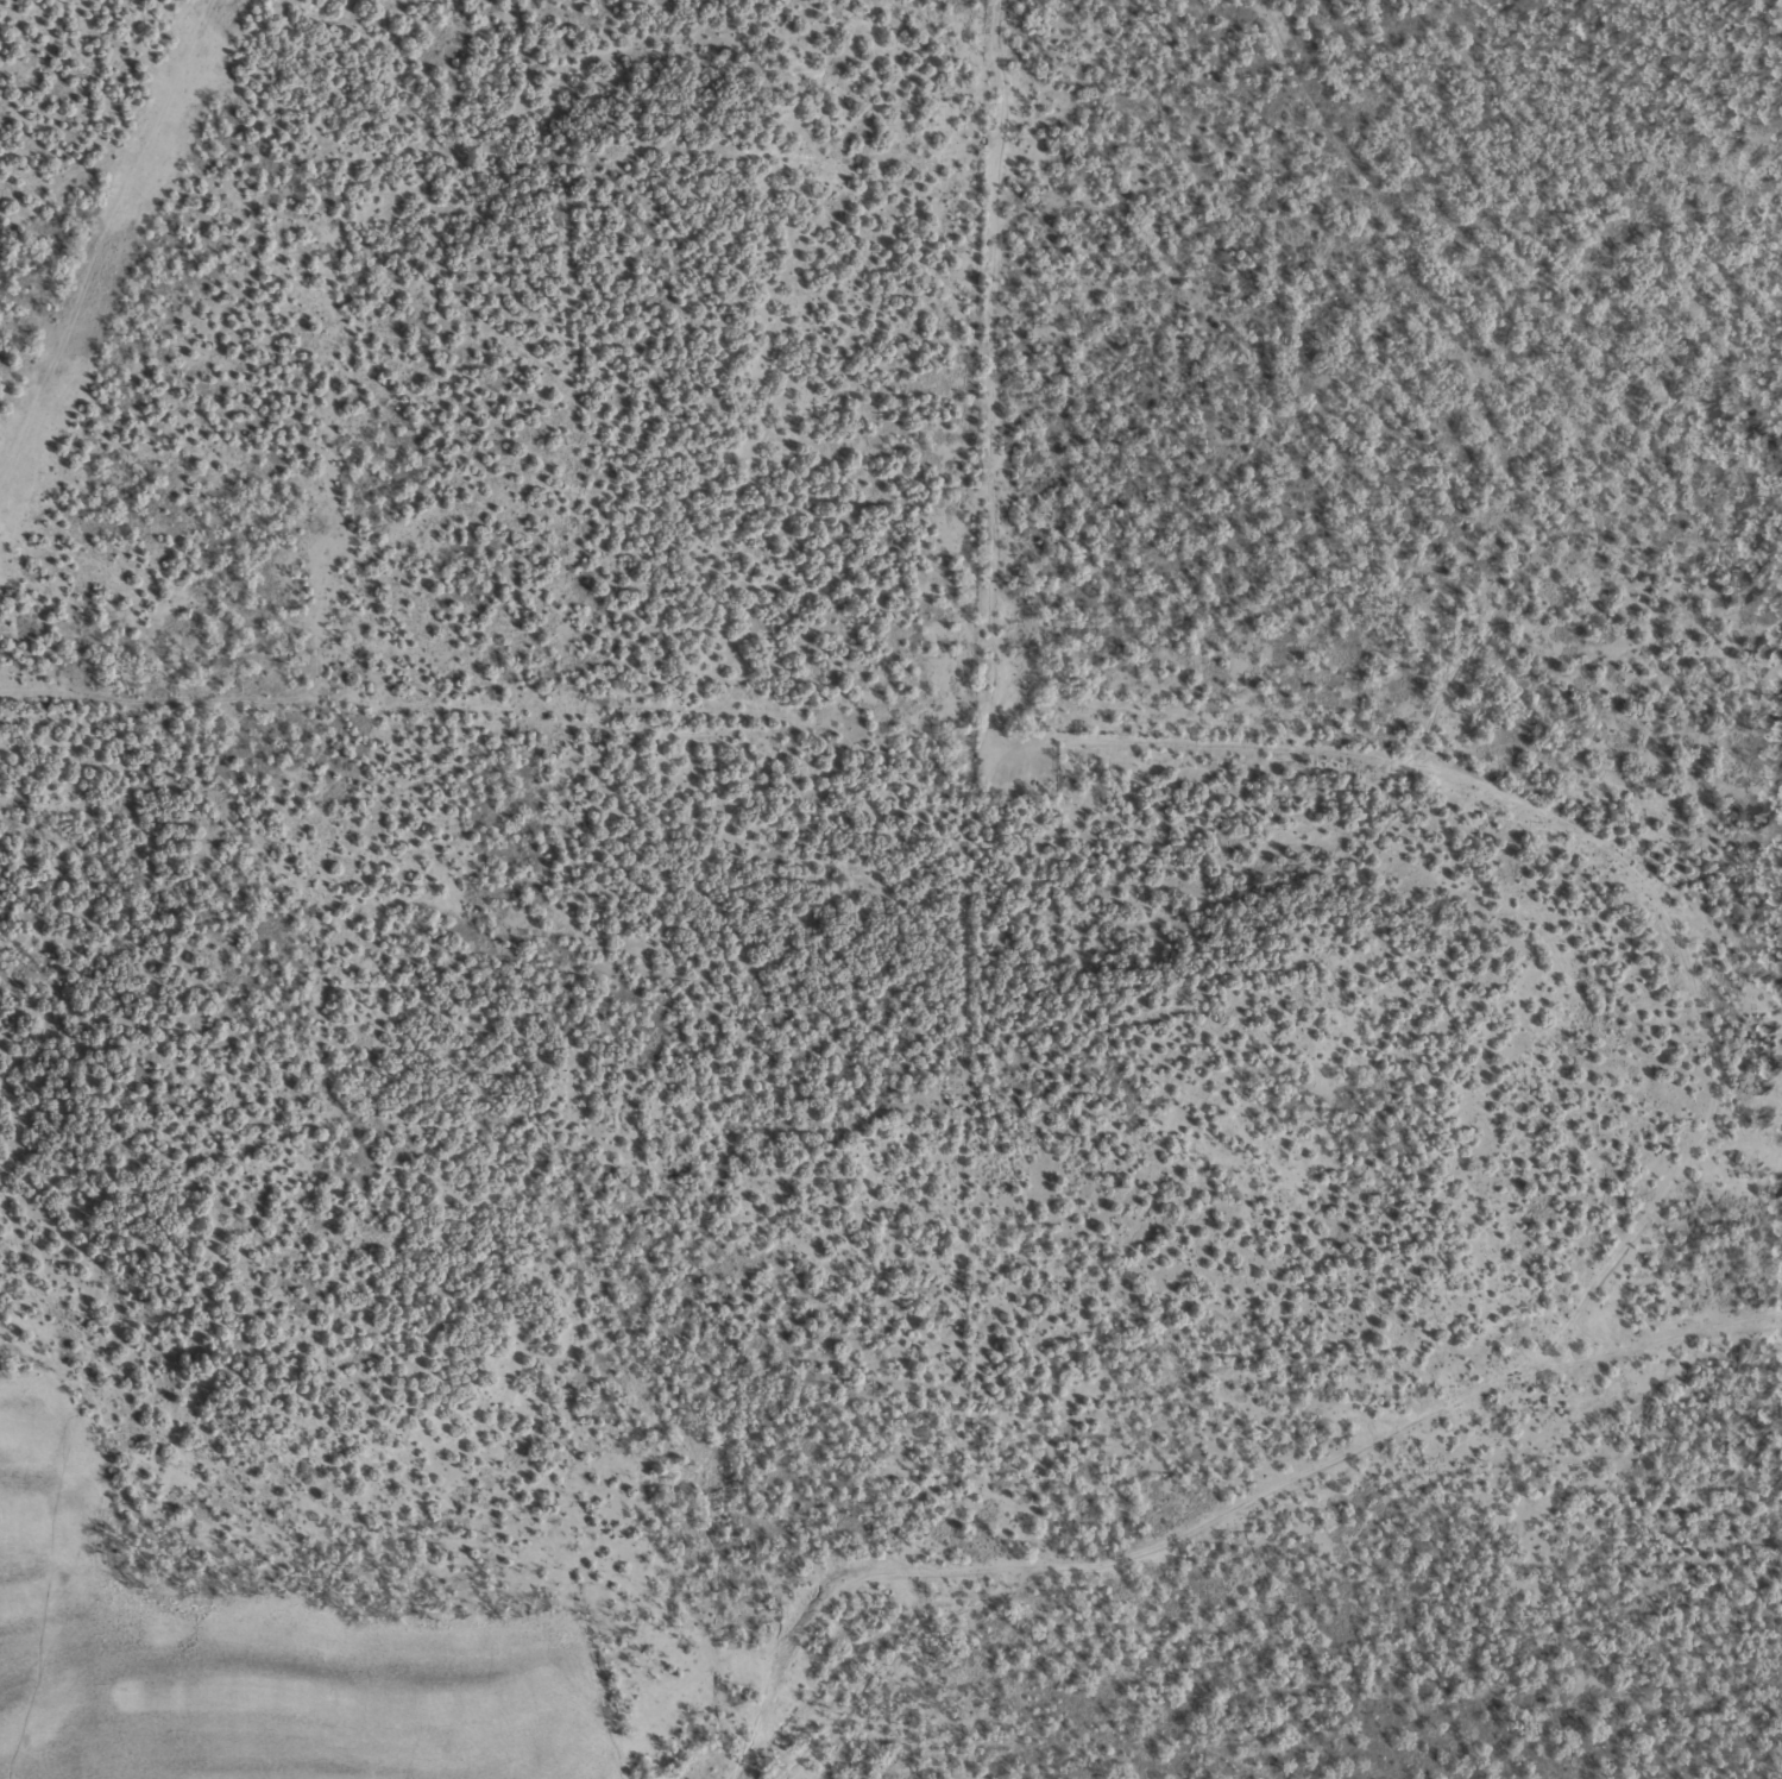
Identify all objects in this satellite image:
road: (336, 266)
road: (1513, 693)
road: (1291, 1500)

